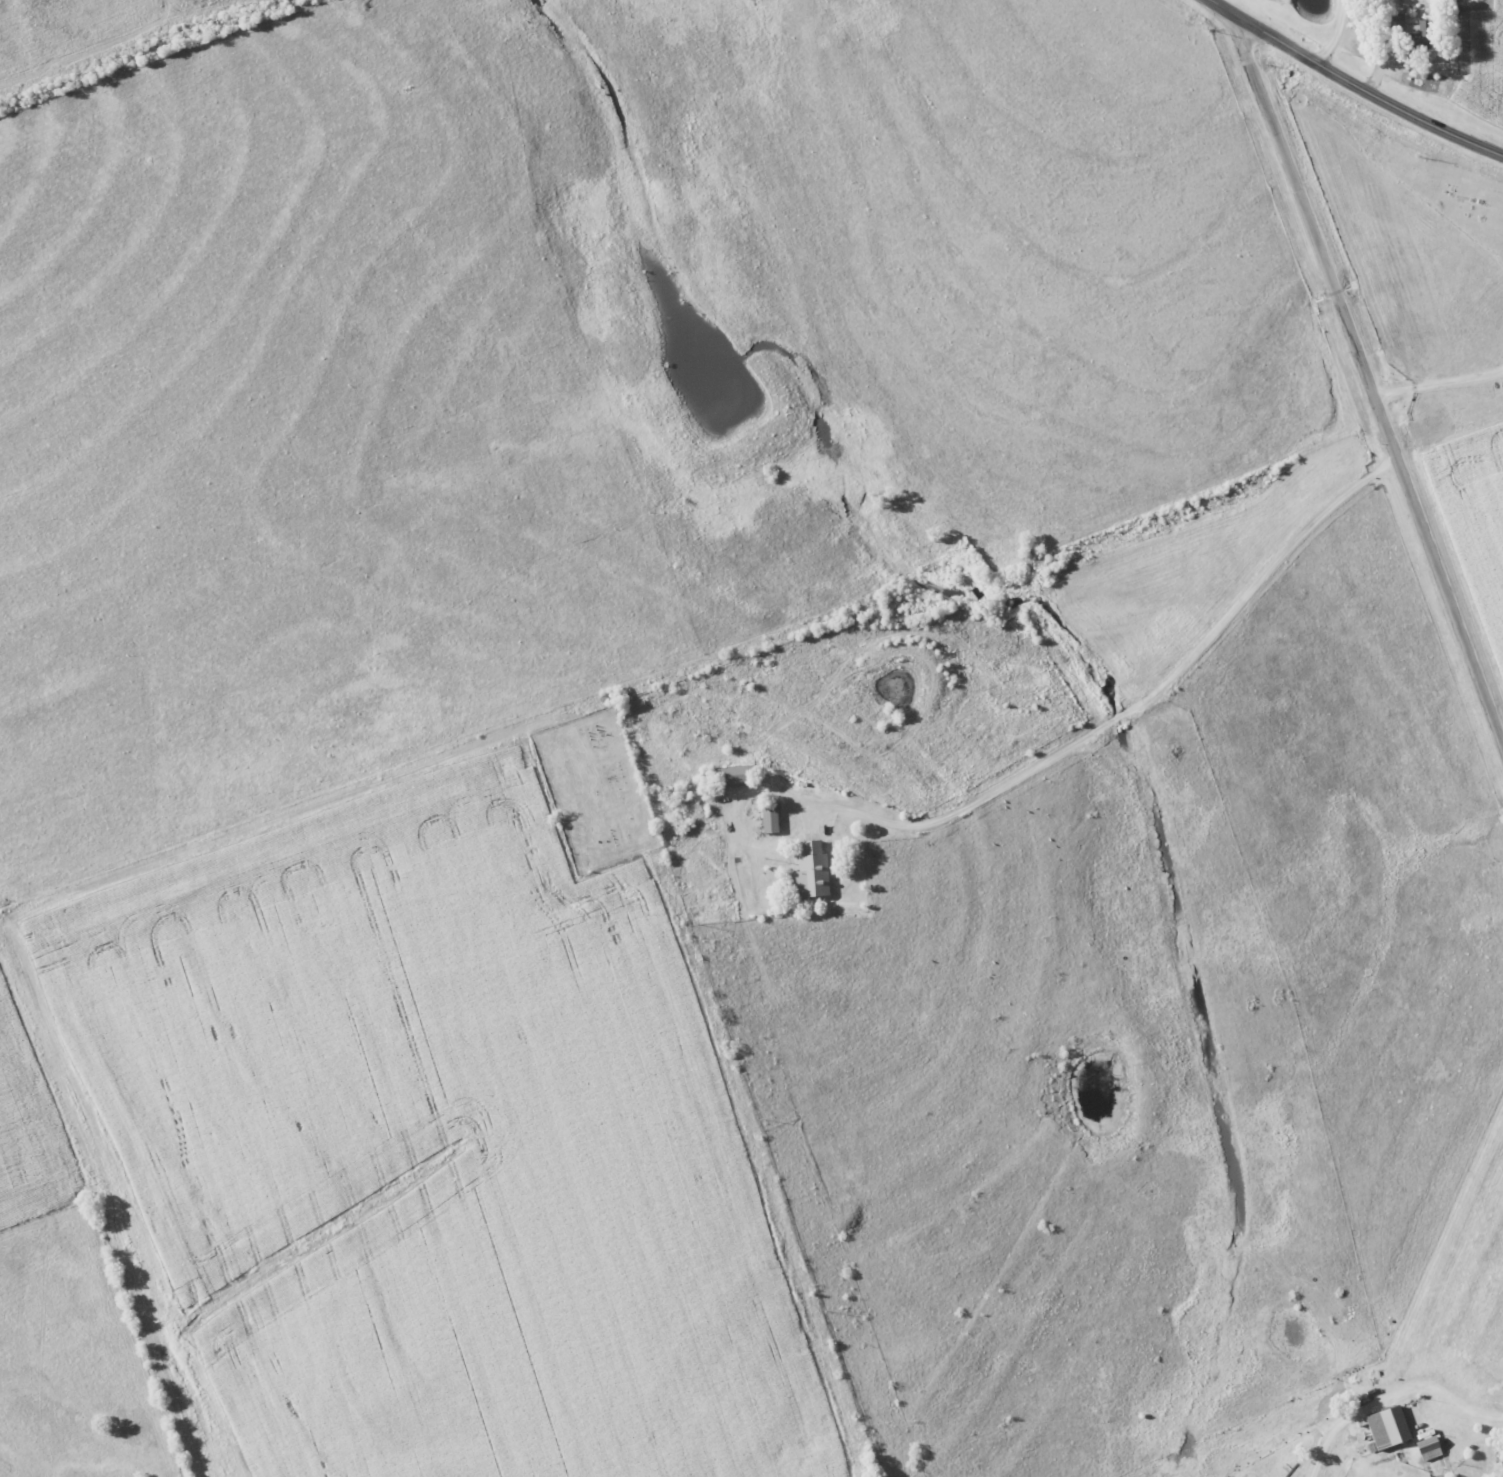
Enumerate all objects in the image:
building: (1414, 30)
road: (1353, 84)
road: (1368, 379)
road: (1438, 384)
road: (1145, 709)
park: (595, 789)
building: (768, 818)
road: (1476, 1412)
building: (1385, 1428)

